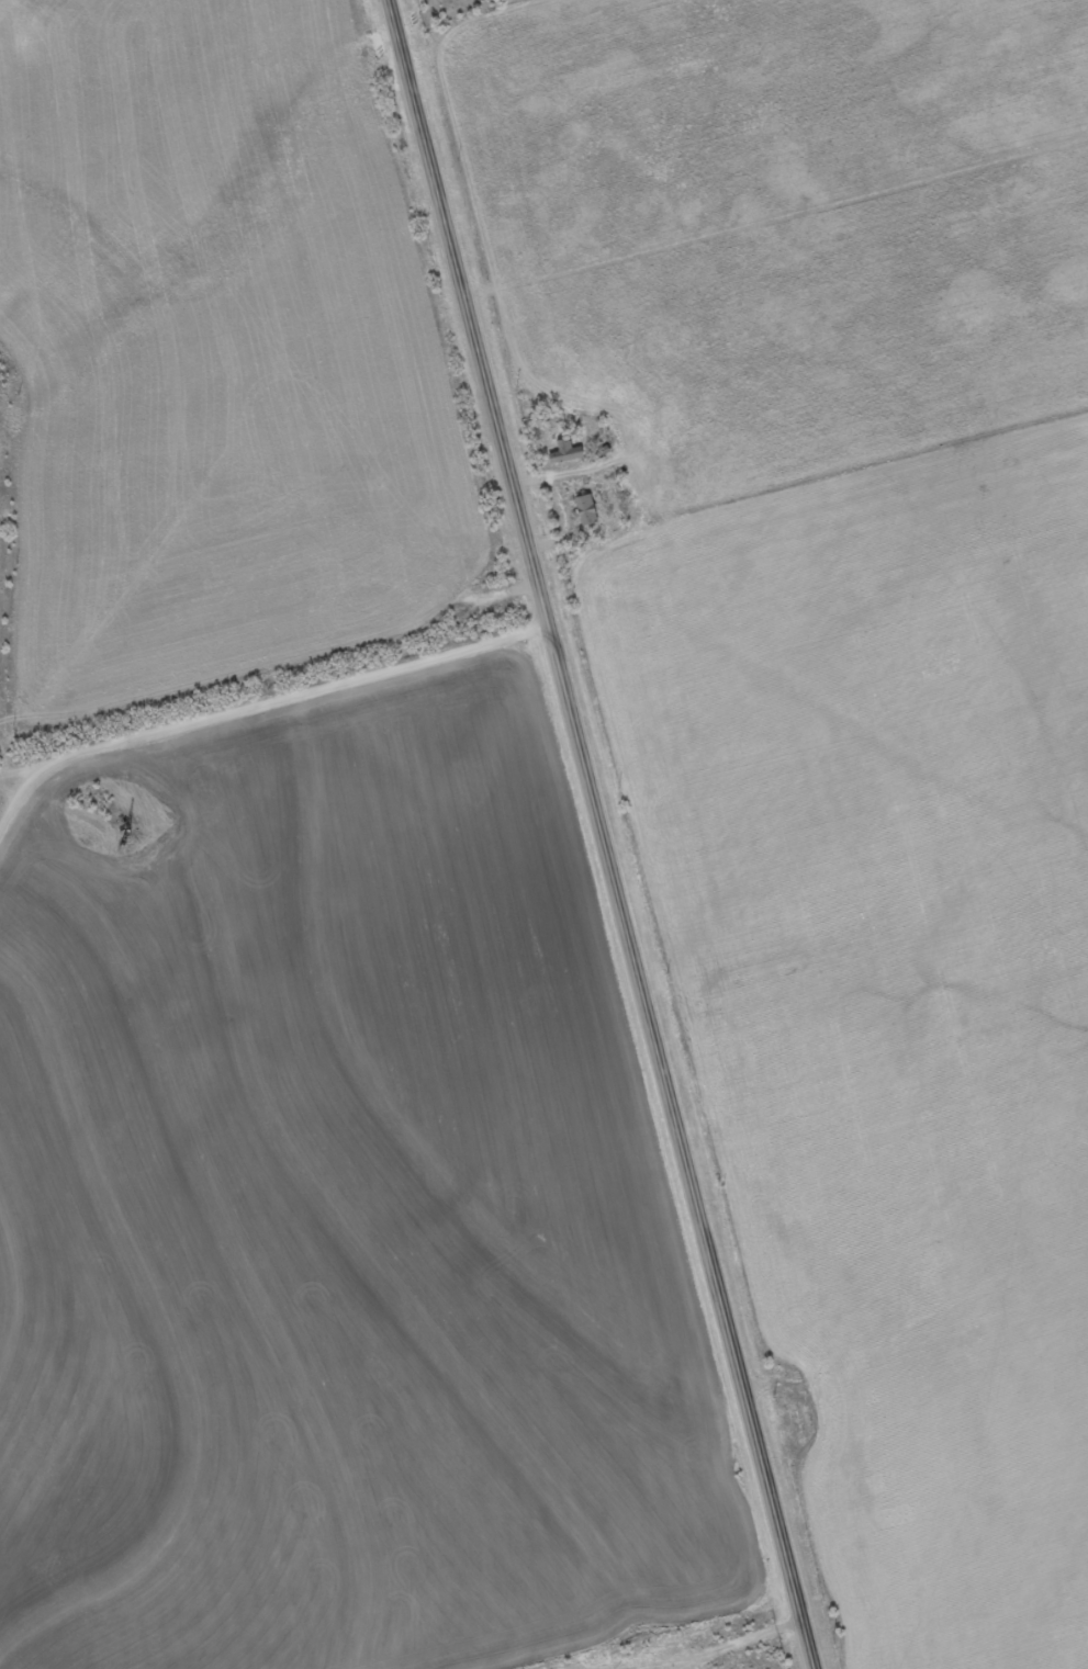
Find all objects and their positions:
road: (590, 833)

